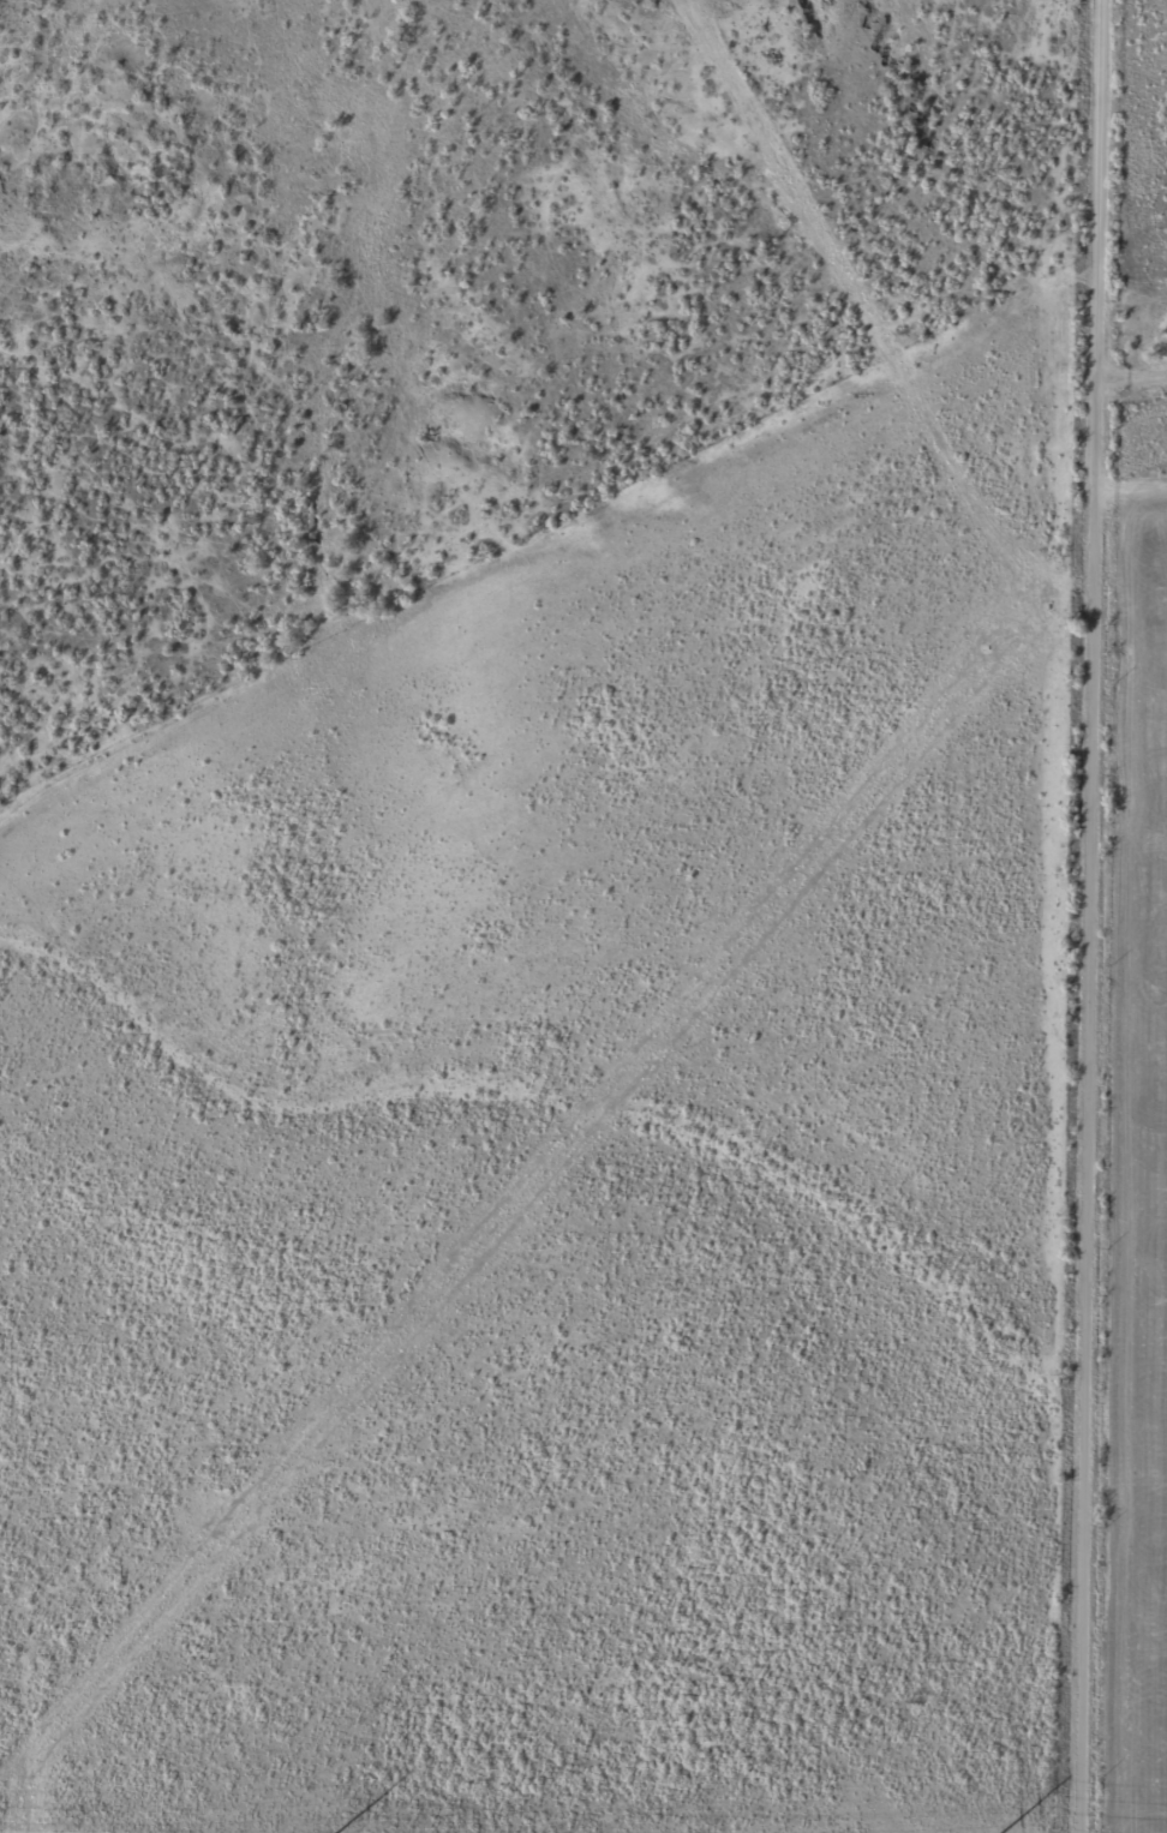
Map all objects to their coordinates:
road: (1133, 468)
road: (1096, 916)

